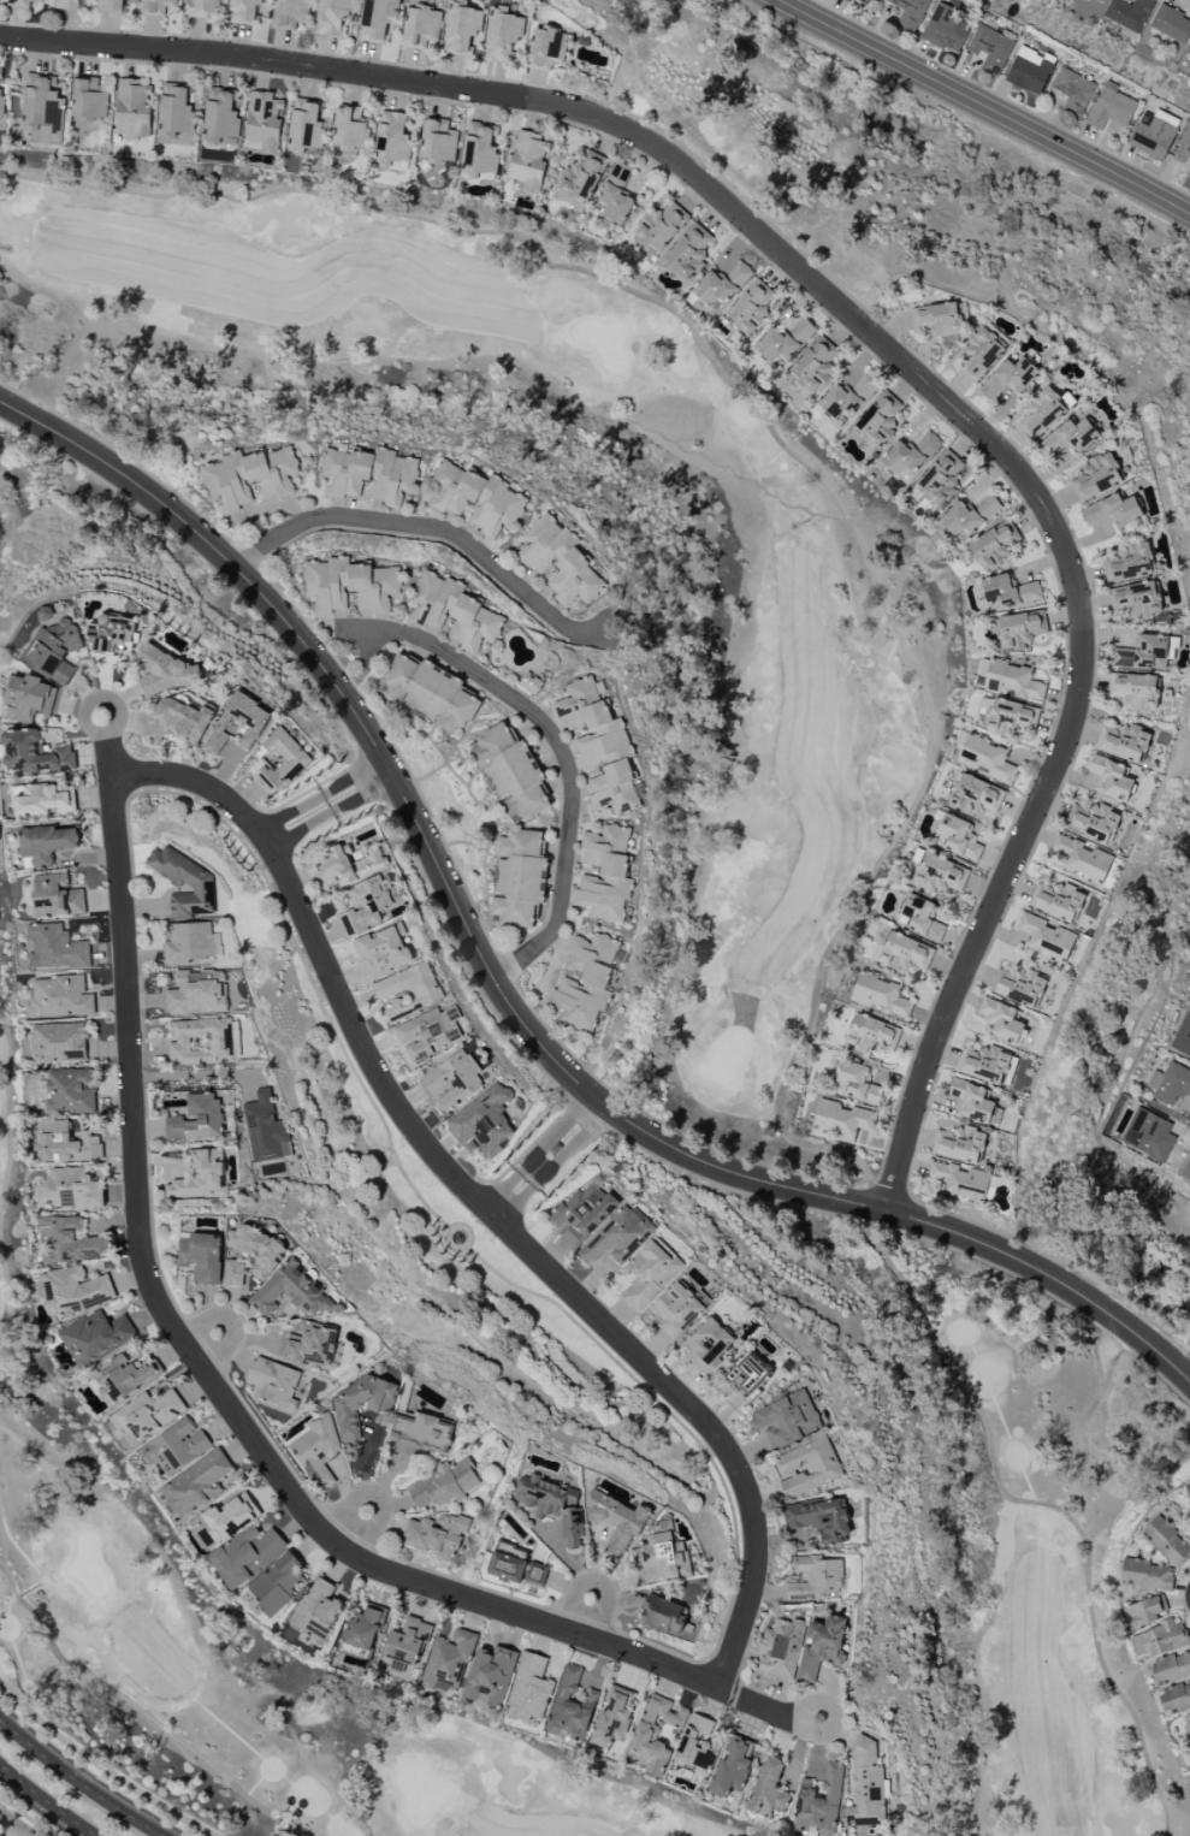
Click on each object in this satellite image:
building: (1101, 0)
building: (22, 2)
building: (66, 4)
building: (109, 6)
building: (159, 7)
building: (201, 7)
building: (244, 11)
building: (911, 11)
building: (290, 13)
building: (1129, 13)
building: (332, 16)
building: (377, 18)
building: (1171, 24)
building: (421, 25)
building: (461, 28)
building: (945, 29)
building: (503, 36)
building: (546, 48)
building: (1189, 53)
building: (1030, 70)
building: (1073, 91)
building: (1, 99)
building: (89, 99)
road: (985, 106)
building: (1112, 107)
building: (132, 108)
building: (43, 109)
building: (174, 111)
building: (220, 114)
building: (264, 119)
building: (304, 126)
building: (350, 129)
building: (1154, 134)
building: (391, 137)
building: (438, 141)
building: (479, 149)
building: (1184, 152)
building: (528, 160)
building: (582, 176)
building: (616, 195)
building: (661, 226)
building: (688, 250)
building: (722, 284)
building: (751, 307)
building: (937, 319)
building: (785, 340)
road: (883, 349)
building: (979, 354)
building: (815, 365)
building: (1010, 378)
building: (847, 396)
building: (1042, 413)
building: (881, 419)
building: (1068, 437)
building: (911, 454)
building: (272, 472)
building: (369, 475)
building: (1096, 476)
building: (942, 478)
building: (226, 482)
building: (476, 498)
building: (1113, 511)
building: (970, 515)
road: (431, 528)
building: (545, 544)
building: (994, 545)
building: (1129, 563)
building: (575, 580)
building: (327, 585)
building: (375, 587)
building: (1010, 591)
building: (1135, 598)
park: (851, 599)
building: (434, 600)
building: (475, 624)
building: (1019, 628)
building: (111, 635)
building: (54, 650)
road: (369, 650)
building: (1143, 653)
building: (161, 671)
building: (1010, 680)
building: (531, 682)
building: (1135, 689)
building: (430, 693)
building: (30, 698)
building: (1011, 717)
building: (177, 721)
building: (237, 723)
building: (592, 723)
building: (1124, 741)
road: (563, 751)
building: (32, 753)
building: (985, 759)
building: (278, 762)
building: (509, 771)
building: (1111, 778)
road: (356, 786)
building: (614, 788)
building: (976, 794)
building: (45, 800)
road: (295, 821)
building: (1093, 821)
building: (958, 837)
building: (47, 843)
building: (1082, 858)
building: (350, 866)
building: (605, 873)
building: (941, 873)
building: (517, 878)
building: (184, 882)
building: (57, 896)
building: (1056, 900)
building: (366, 905)
building: (922, 917)
building: (1046, 937)
building: (188, 942)
building: (55, 947)
building: (384, 950)
building: (905, 953)
park: (22, 978)
building: (586, 981)
building: (1019, 987)
building: (197, 993)
building: (425, 993)
building: (881, 995)
building: (59, 996)
road: (505, 1001)
building: (1001, 1020)
building: (427, 1034)
building: (872, 1034)
building: (1182, 1037)
building: (201, 1041)
building: (59, 1042)
building: (984, 1064)
road: (187, 1076)
building: (452, 1080)
building: (859, 1082)
building: (1170, 1084)
building: (70, 1090)
building: (975, 1101)
building: (197, 1119)
building: (841, 1119)
building: (482, 1123)
building: (265, 1129)
building: (1149, 1135)
road: (563, 1141)
building: (66, 1144)
building: (960, 1144)
building: (201, 1177)
building: (960, 1180)
building: (71, 1189)
road: (509, 1196)
road: (481, 1203)
building: (581, 1213)
building: (617, 1238)
building: (69, 1240)
building: (270, 1255)
building: (201, 1256)
building: (649, 1274)
building: (75, 1291)
building: (291, 1291)
building: (676, 1310)
building: (96, 1334)
building: (708, 1345)
building: (310, 1346)
building: (748, 1376)
building: (125, 1378)
building: (273, 1381)
road: (220, 1397)
building: (361, 1404)
building: (148, 1415)
building: (785, 1419)
building: (422, 1432)
building: (176, 1446)
building: (318, 1451)
building: (806, 1467)
building: (196, 1483)
building: (445, 1483)
road: (375, 1496)
building: (1189, 1497)
building: (552, 1504)
building: (226, 1518)
building: (818, 1520)
building: (616, 1521)
building: (437, 1536)
building: (1166, 1541)
building: (247, 1553)
building: (662, 1554)
building: (507, 1562)
building: (534, 1575)
building: (1147, 1575)
building: (815, 1577)
building: (277, 1583)
building: (318, 1610)
building: (1143, 1611)
road: (585, 1616)
building: (664, 1616)
building: (365, 1628)
building: (1162, 1637)
building: (408, 1642)
building: (822, 1646)
building: (781, 1647)
building: (448, 1663)
building: (1171, 1668)
building: (490, 1676)
building: (529, 1688)
building: (1174, 1698)
building: (570, 1706)
building: (612, 1719)
building: (1186, 1724)
building: (697, 1746)
building: (1189, 1746)
building: (732, 1769)
road: (78, 1782)
building: (866, 1784)
building: (768, 1788)
road: (47, 1801)
building: (821, 1802)
park: (22, 1820)

